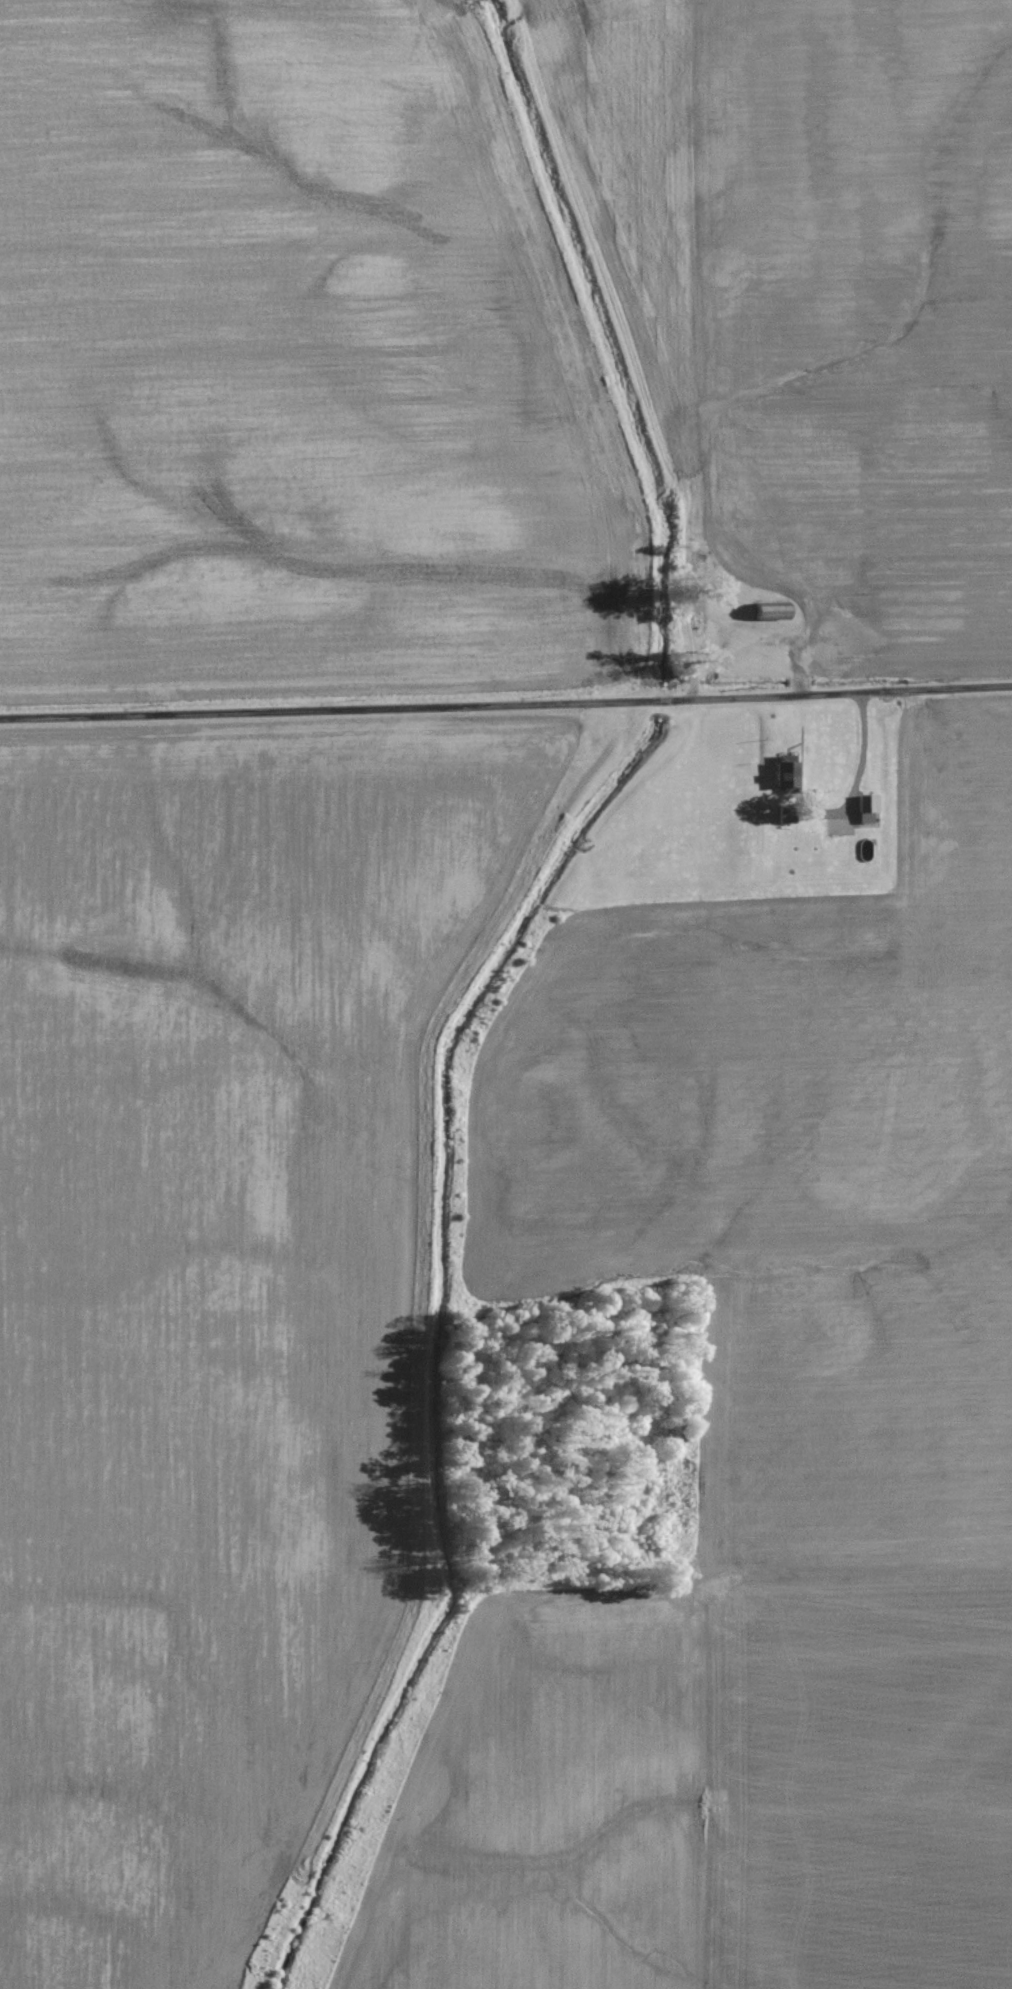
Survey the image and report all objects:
road: (506, 688)
building: (788, 816)

